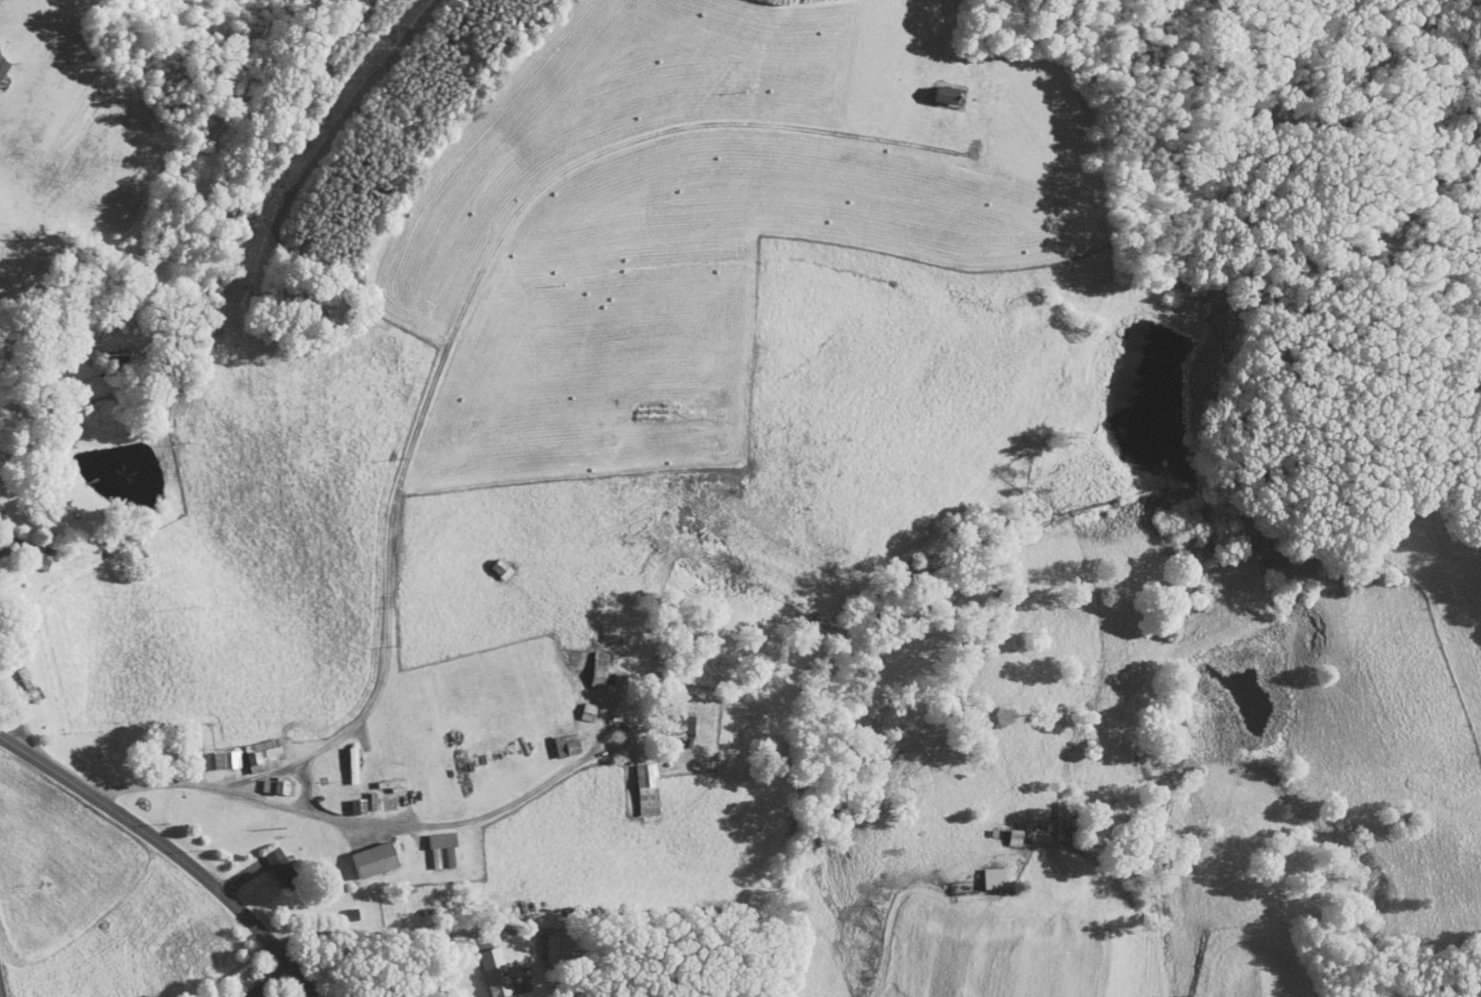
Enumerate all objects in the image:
building: (939, 87)
road: (484, 267)
road: (9, 531)
building: (33, 551)
building: (589, 662)
building: (578, 705)
building: (560, 738)
road: (621, 745)
building: (254, 748)
building: (217, 753)
building: (344, 758)
road: (279, 769)
building: (637, 782)
building: (363, 794)
building: (349, 800)
road: (369, 821)
building: (433, 841)
road: (171, 850)
building: (367, 852)
building: (272, 862)
building: (985, 872)
road: (376, 934)
building: (548, 940)
building: (486, 967)
building: (242, 990)
road: (0, 996)

